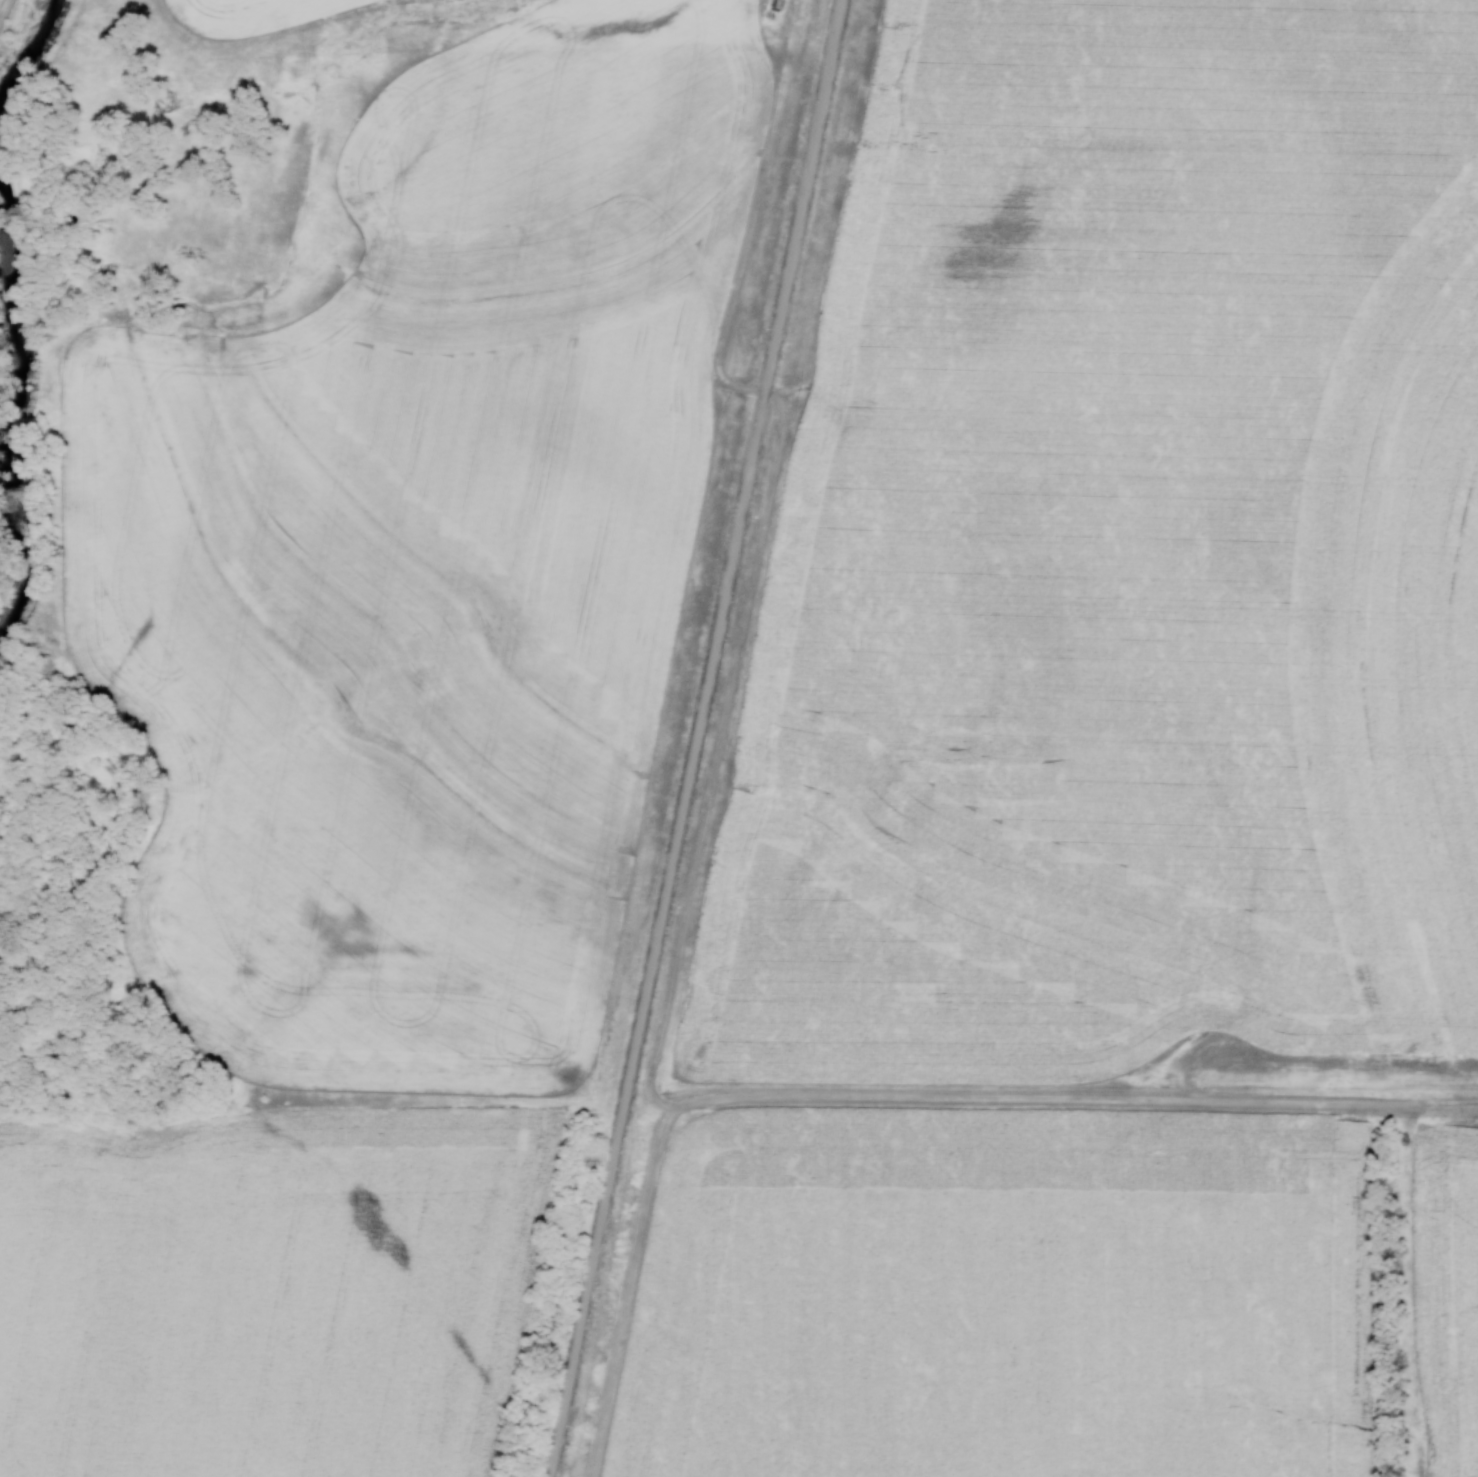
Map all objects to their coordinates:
road: (695, 738)
road: (1439, 1105)
crop: (270, 1286)
crop: (1003, 1295)

